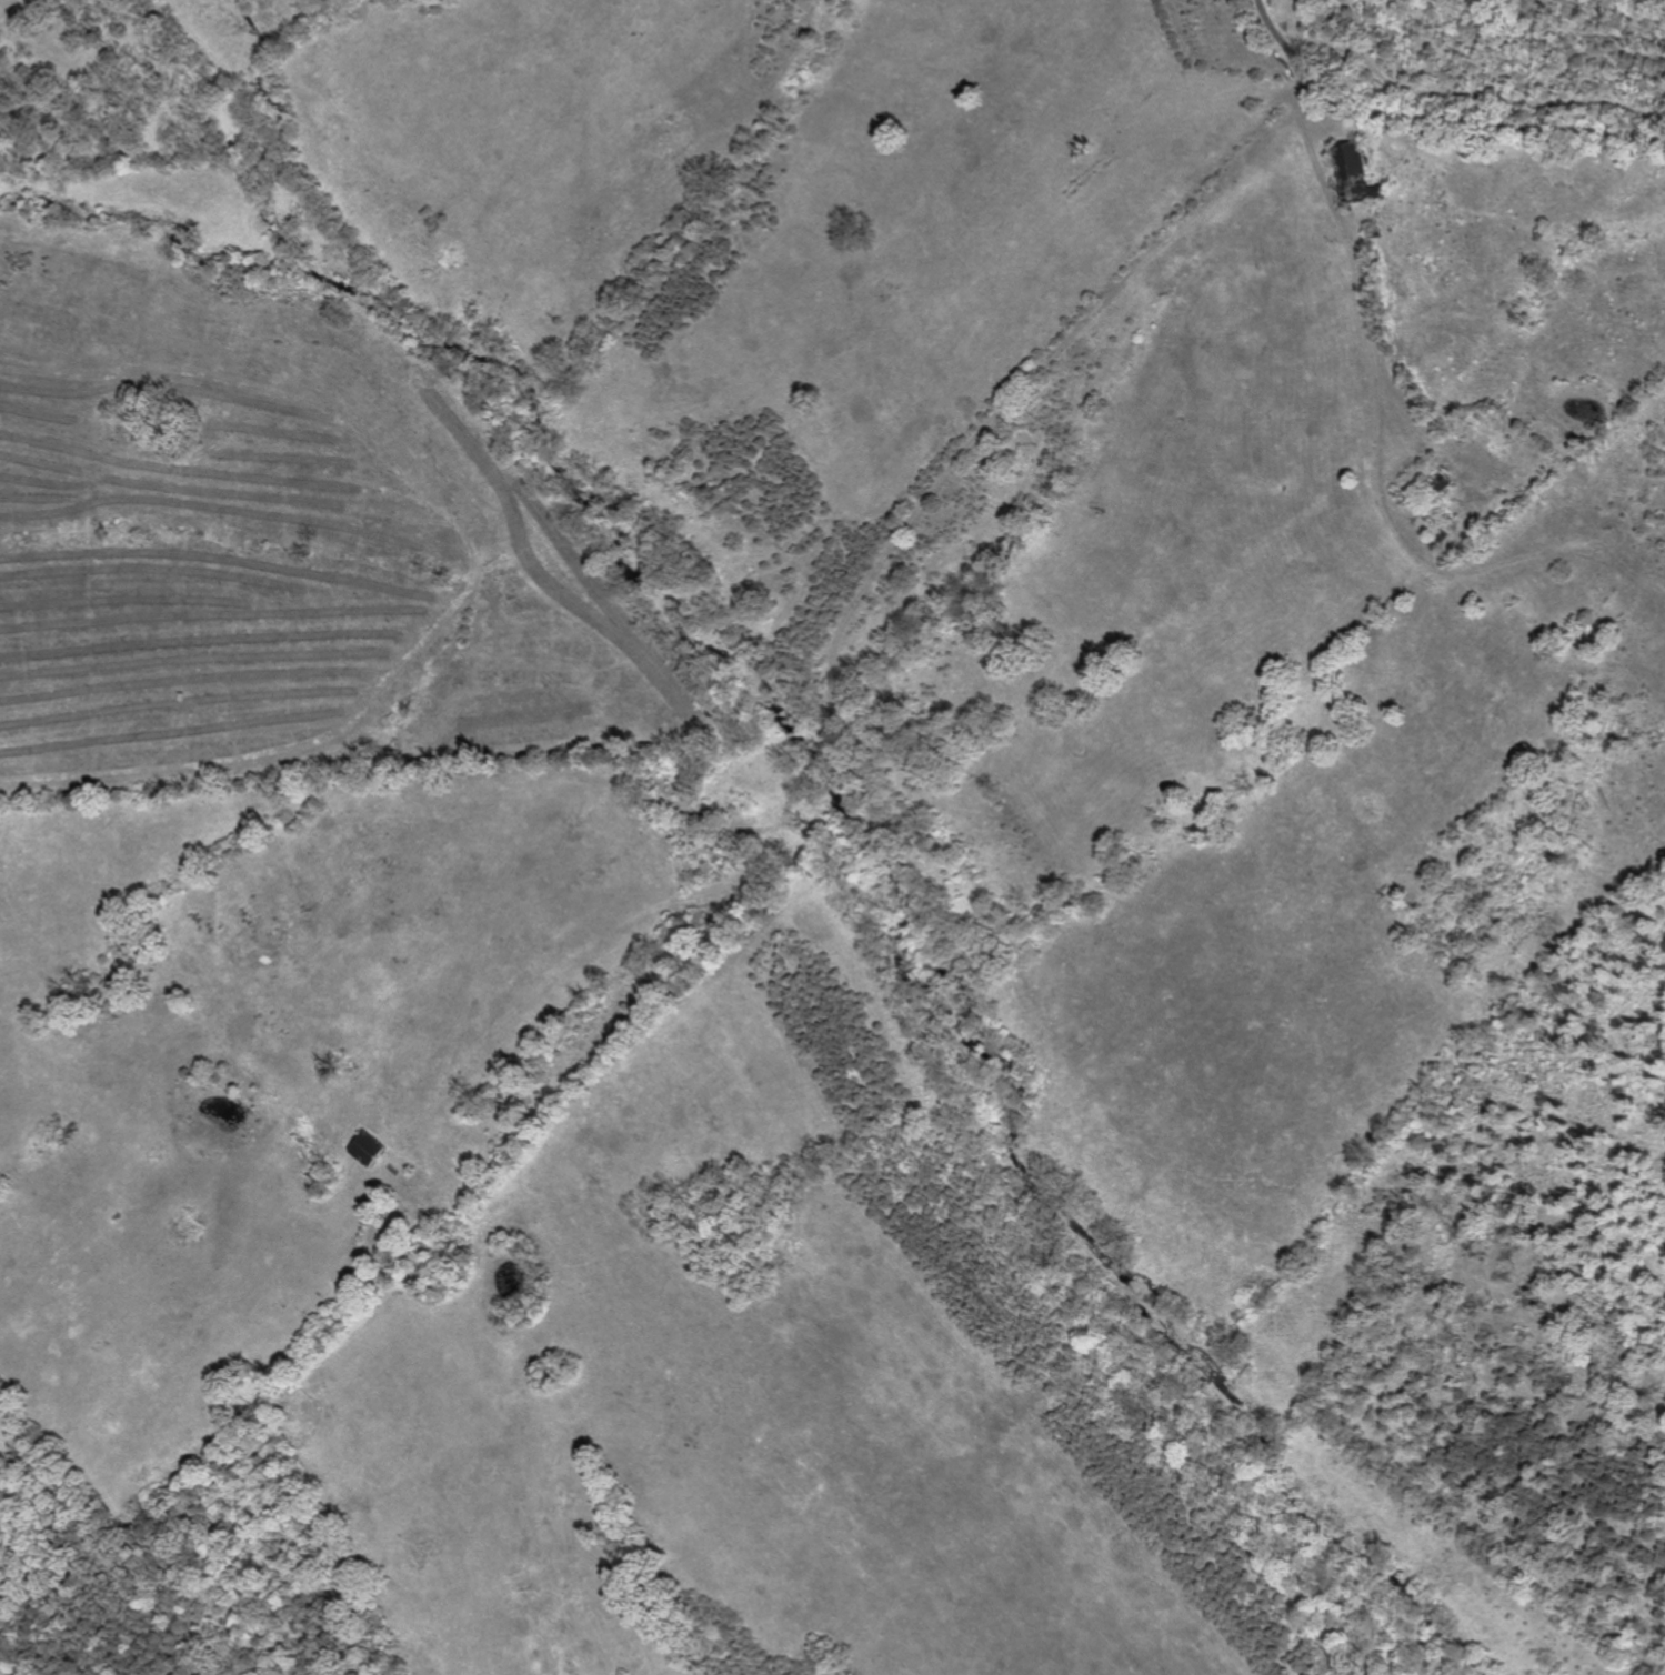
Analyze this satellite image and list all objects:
road: (1262, 2)
road: (1278, 38)
road: (1448, 116)
building: (1353, 175)

